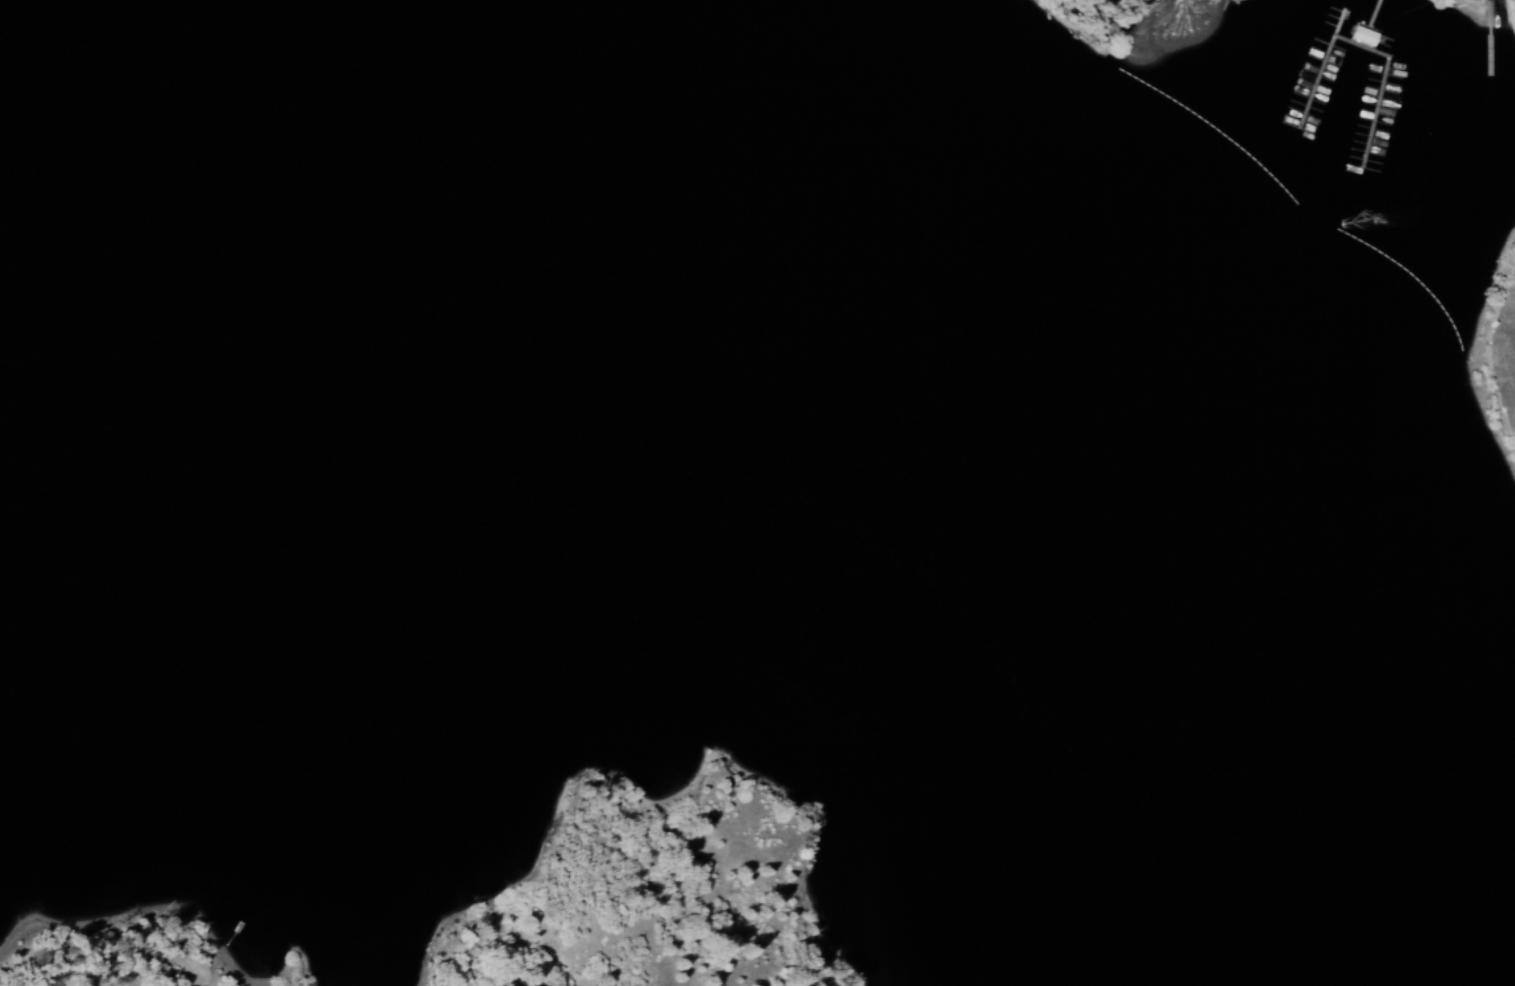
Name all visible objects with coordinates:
river: (392, 101)
river: (623, 221)
river: (838, 376)
river: (1085, 653)
river: (1176, 902)

